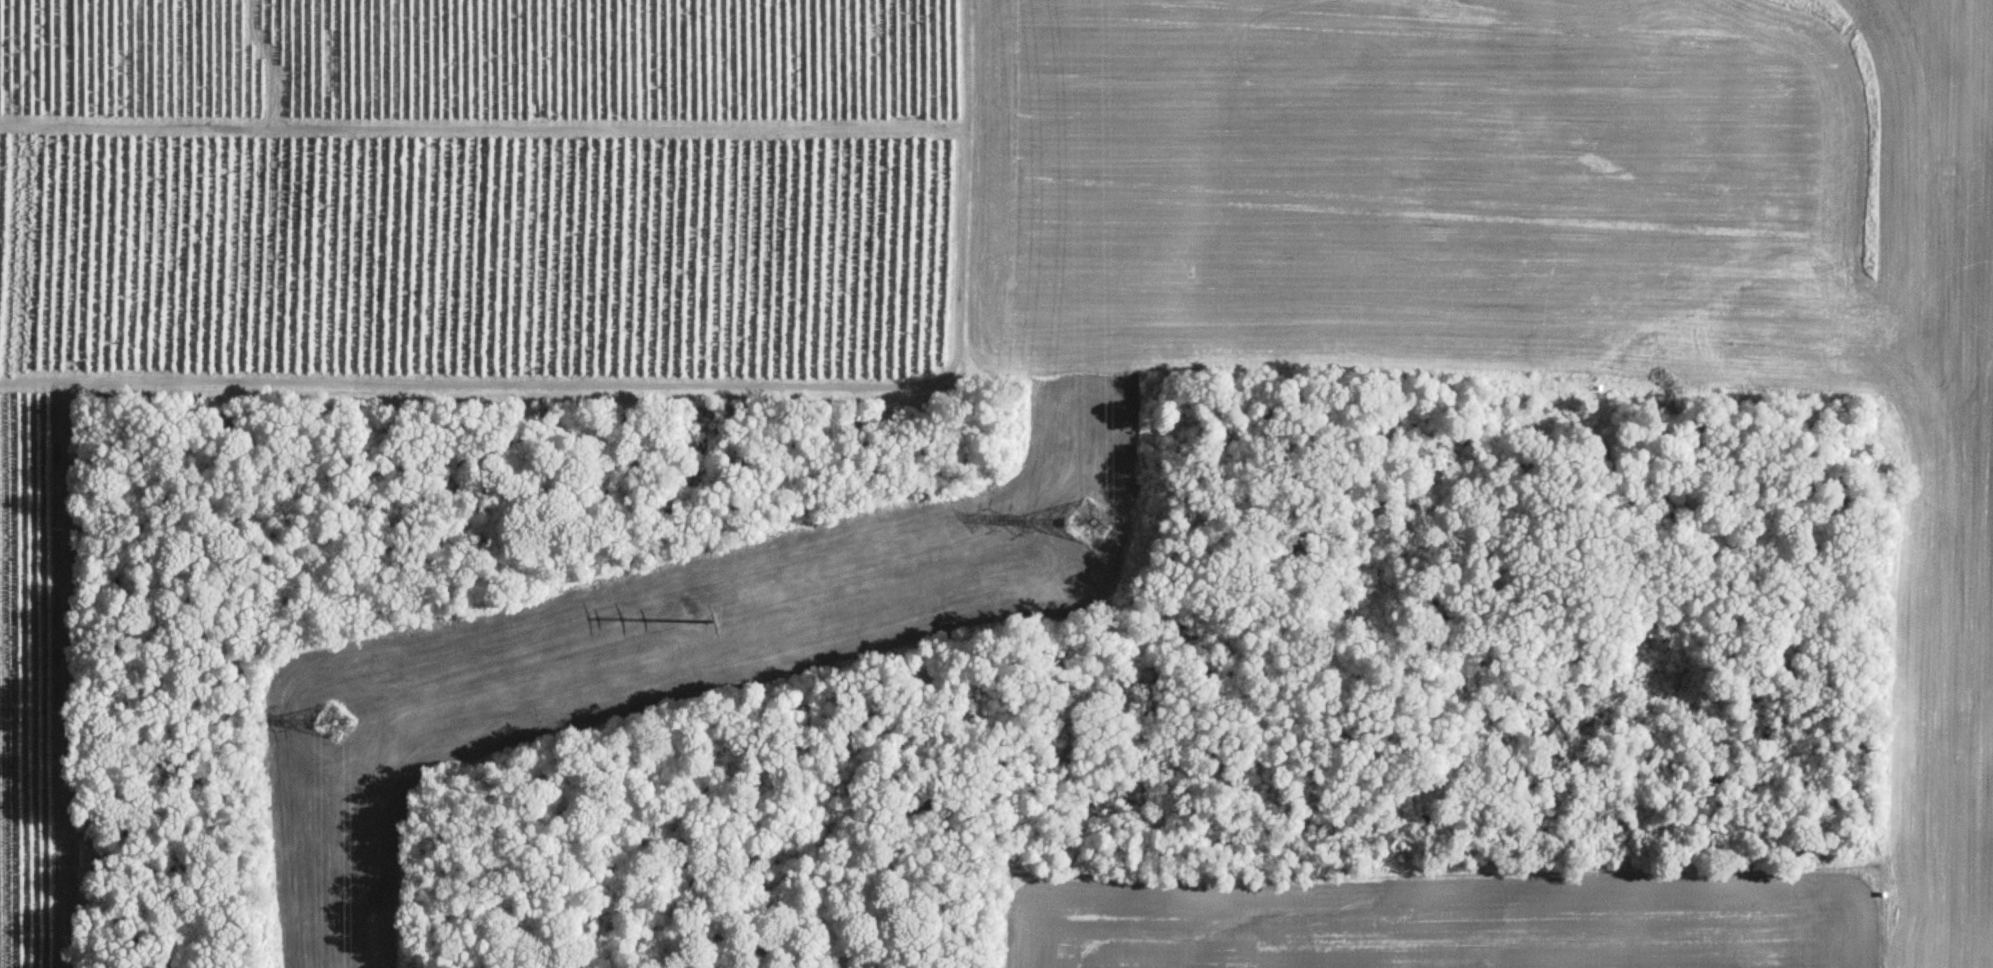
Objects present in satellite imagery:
power tower: (1096, 529)
power tower: (325, 711)

